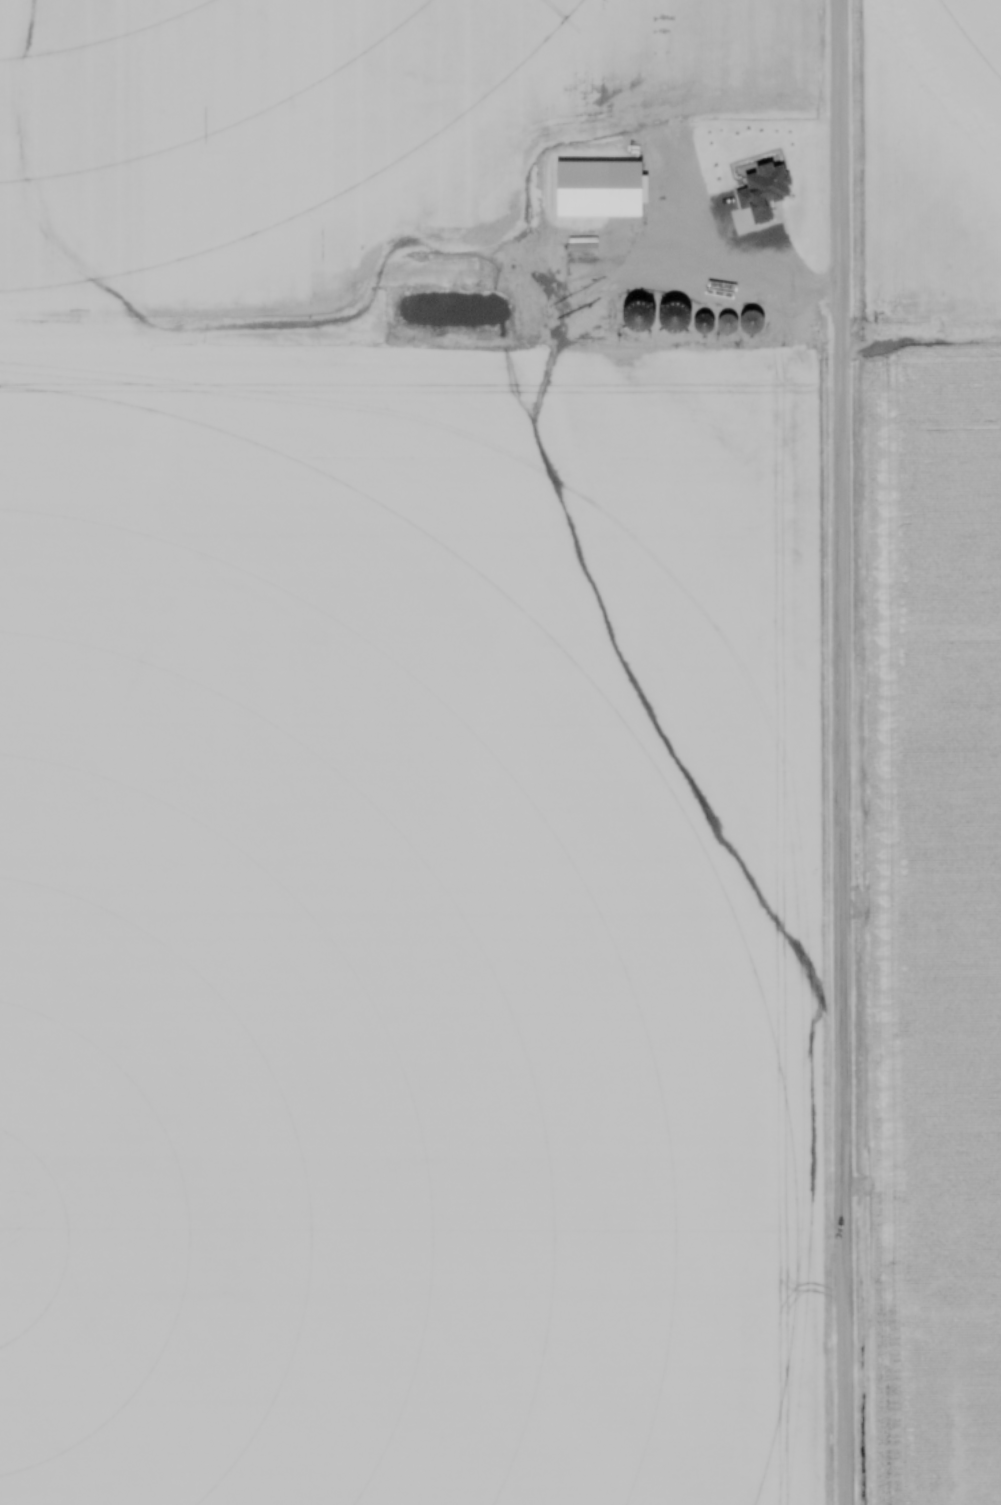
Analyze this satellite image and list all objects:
building: (600, 188)
road: (717, 260)
silo: (725, 321)
silo: (701, 322)
building: (746, 322)
silo: (751, 324)
crop: (937, 740)
road: (844, 752)
crop: (395, 791)

